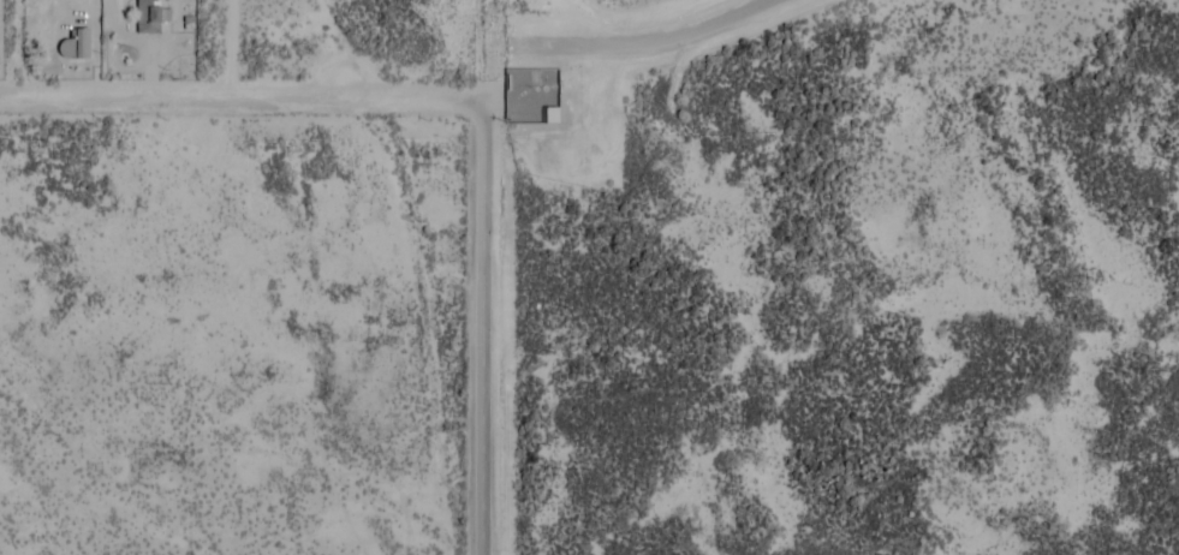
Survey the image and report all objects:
building: (147, 17)
building: (75, 44)
road: (489, 52)
road: (193, 92)
road: (487, 226)

